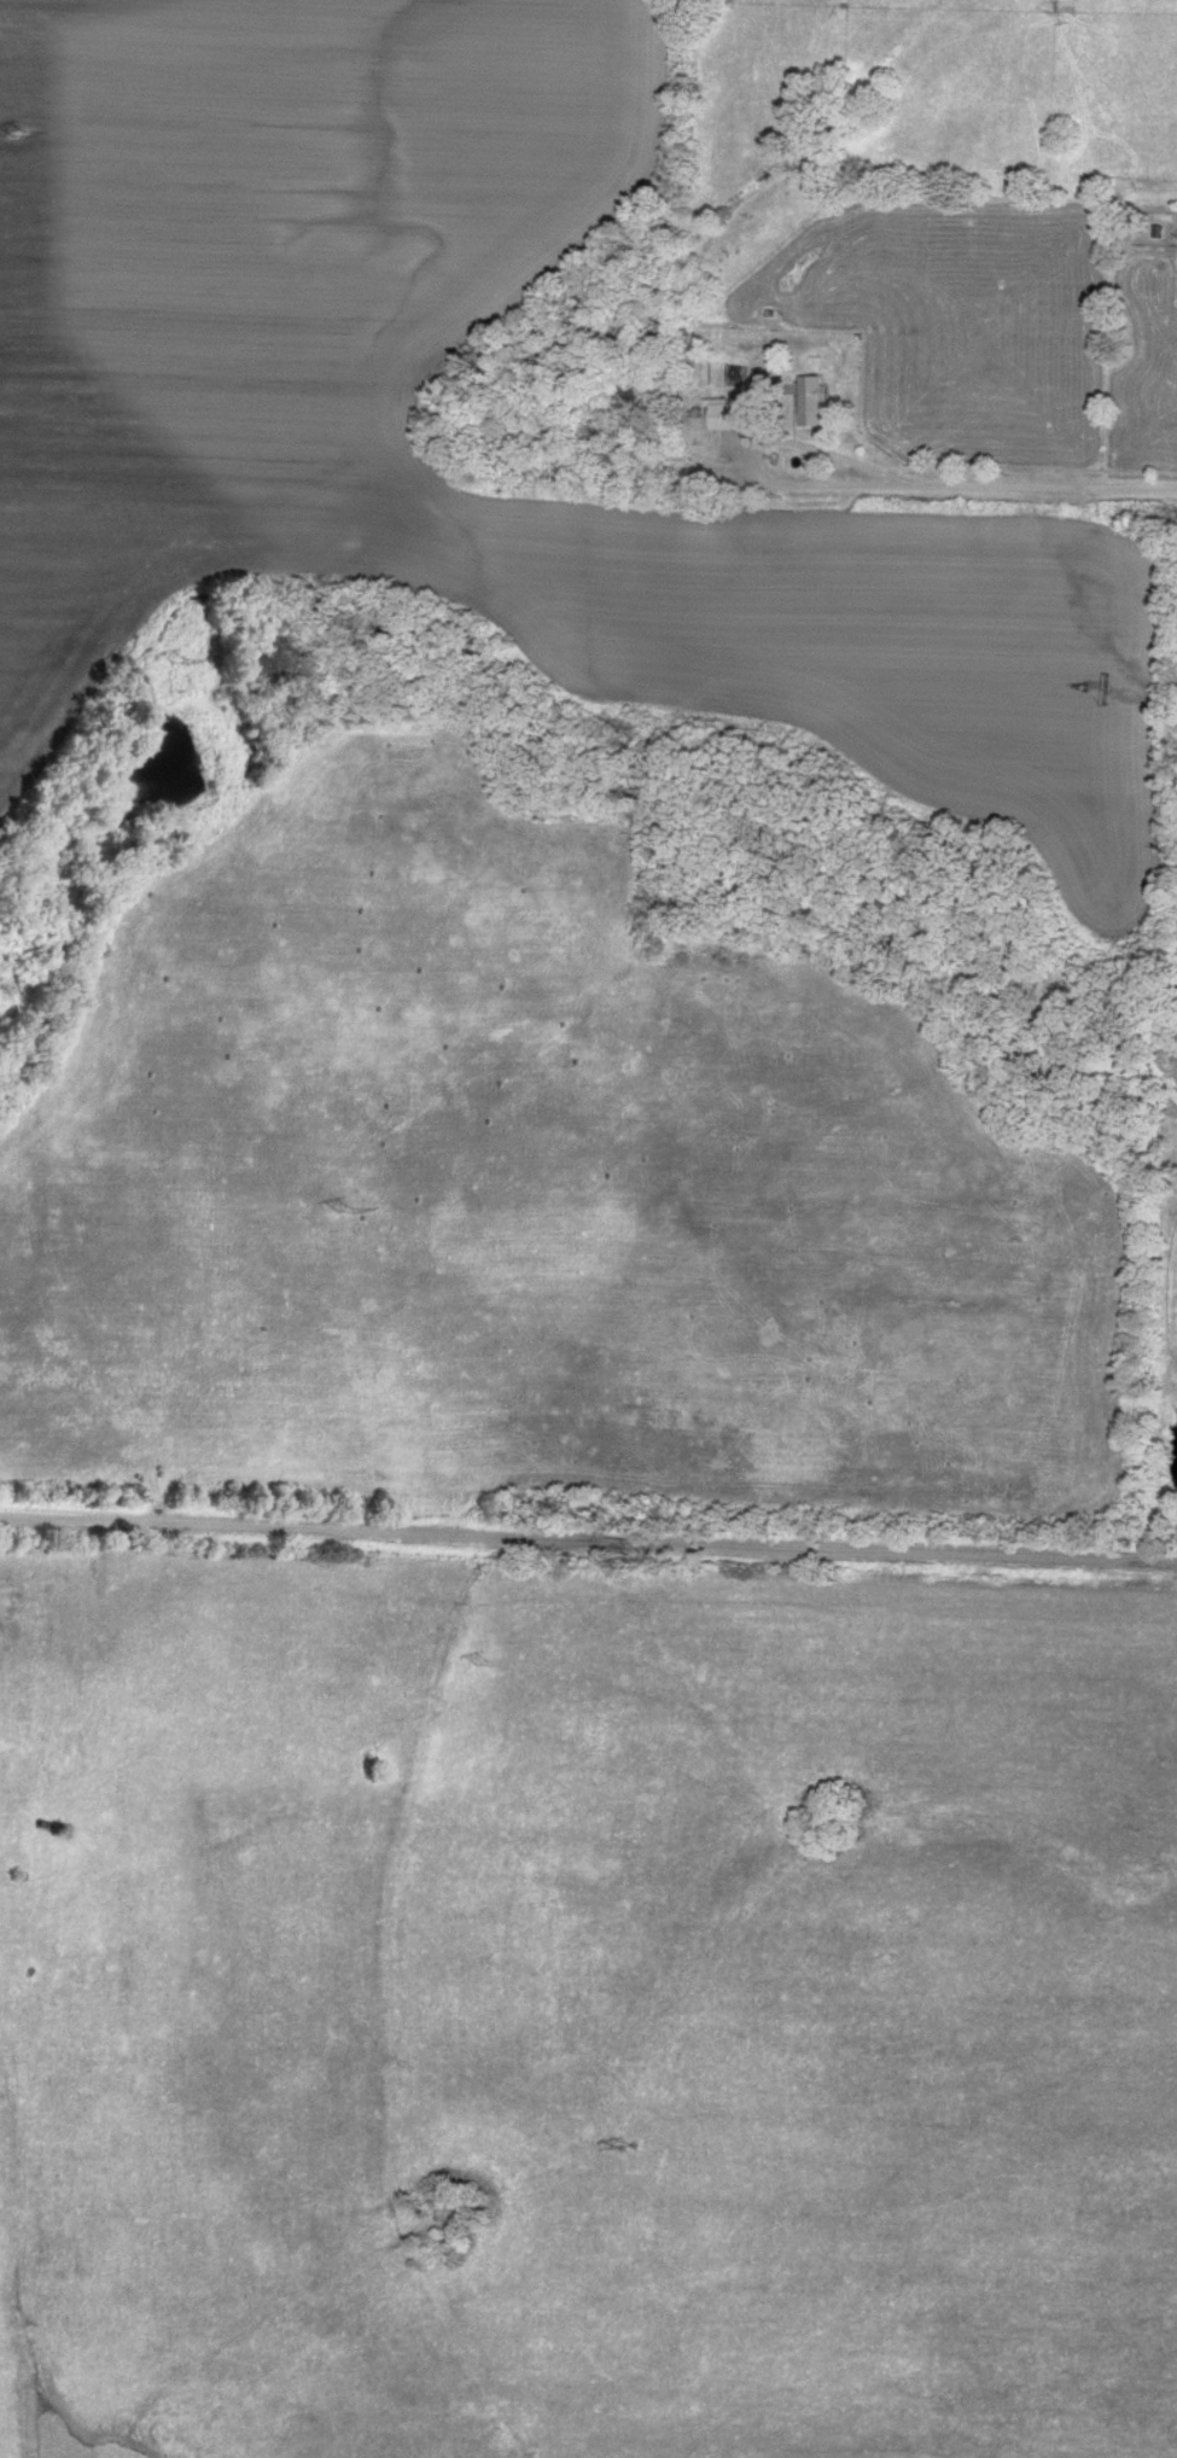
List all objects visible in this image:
power tower: (14, 134)
building: (812, 402)
building: (733, 417)
road: (774, 482)
road: (1033, 488)
power tower: (183, 658)
power tower: (344, 1207)
road: (588, 1539)
power tower: (484, 1667)
power tower: (625, 2148)

